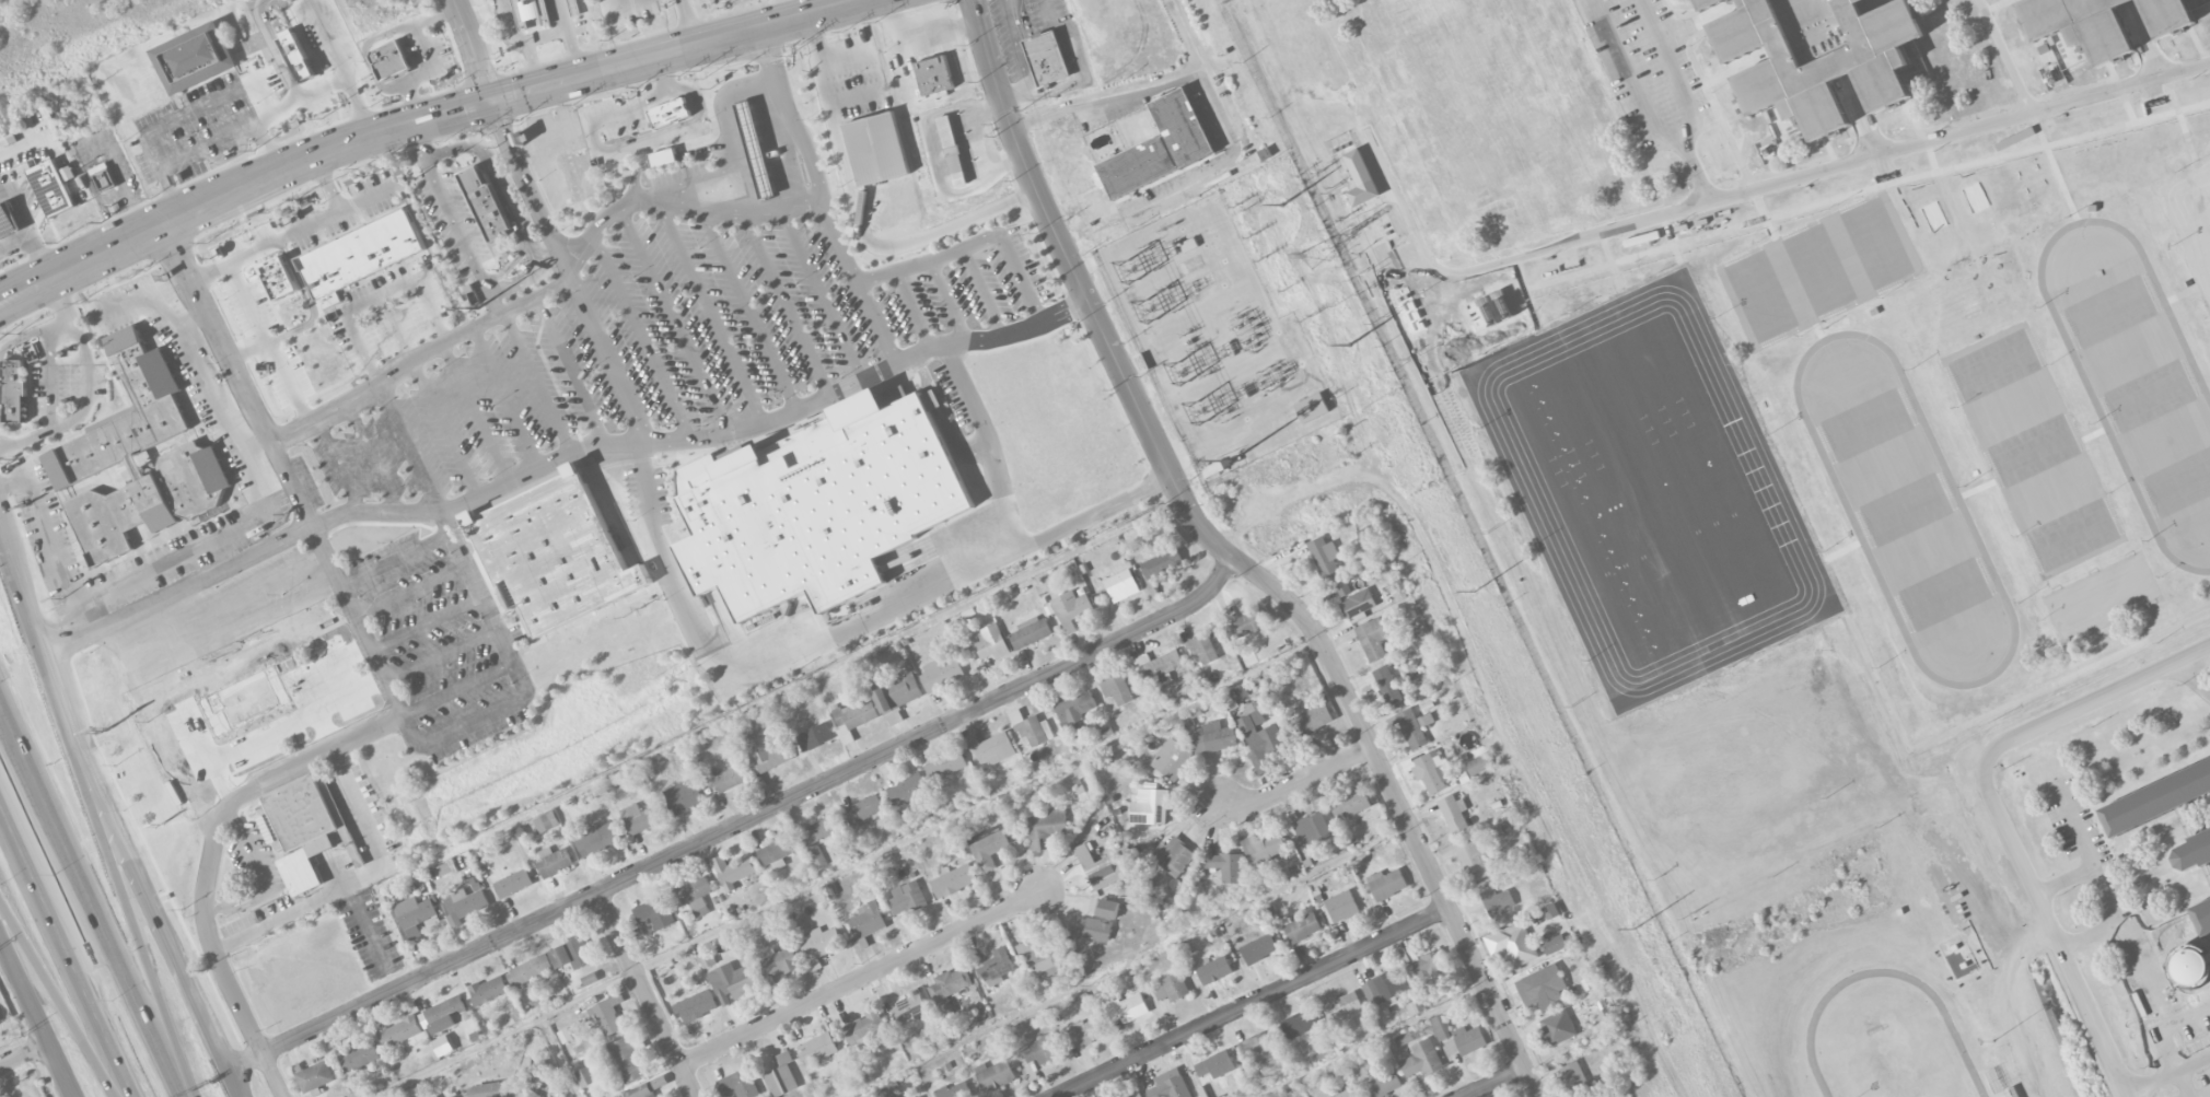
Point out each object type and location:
building: (1709, 4)
road: (1873, 5)
road: (1994, 5)
building: (572, 8)
road: (1436, 8)
building: (530, 13)
building: (2166, 14)
road: (694, 23)
building: (2081, 24)
road: (1548, 32)
road: (546, 36)
road: (327, 38)
road: (568, 38)
road: (2147, 40)
road: (522, 42)
road: (2197, 43)
road: (1015, 47)
road: (279, 49)
road: (475, 50)
building: (1817, 56)
building: (1046, 57)
building: (194, 58)
building: (284, 58)
building: (389, 61)
road: (1737, 68)
road: (1672, 69)
parking lot: (1647, 70)
road: (2010, 72)
road: (1081, 73)
building: (934, 77)
road: (1208, 77)
road: (1569, 87)
road: (2120, 91)
road: (1107, 94)
traffic signals: (489, 103)
building: (1481, 103)
road: (196, 109)
road: (1644, 109)
road: (1714, 109)
building: (670, 113)
road: (1860, 116)
road: (424, 119)
road: (1624, 121)
road: (1919, 135)
road: (1370, 140)
road: (418, 142)
building: (1161, 147)
building: (875, 149)
building: (756, 150)
gas station: (756, 150)
building: (952, 150)
building: (228, 152)
building: (771, 155)
building: (664, 159)
road: (1830, 166)
building: (103, 177)
building: (581, 178)
building: (1361, 179)
road: (325, 185)
road: (1724, 186)
building: (51, 189)
road: (173, 191)
road: (1834, 198)
road: (824, 200)
building: (485, 202)
road: (515, 205)
road: (677, 205)
power tower: (1280, 205)
road: (1537, 208)
road: (858, 219)
building: (8, 221)
gas station: (8, 221)
road: (1597, 226)
road: (26, 230)
road: (458, 230)
road: (293, 233)
building: (361, 254)
road: (549, 256)
road: (434, 257)
power tower: (1321, 259)
road: (929, 261)
building: (279, 278)
road: (1019, 278)
road: (984, 291)
road: (822, 294)
road: (377, 295)
road: (949, 302)
road: (787, 304)
road: (495, 307)
road: (749, 310)
road: (915, 311)
road: (503, 313)
road: (711, 313)
road: (194, 322)
road: (674, 322)
road: (641, 337)
power substation: (1214, 337)
road: (268, 343)
power tower: (1349, 345)
road: (247, 350)
road: (608, 359)
road: (570, 370)
road: (538, 382)
road: (90, 388)
building: (14, 389)
road: (505, 396)
building: (1314, 406)
road: (476, 411)
road: (443, 428)
road: (990, 444)
road: (409, 450)
road: (373, 457)
building: (138, 466)
road: (339, 466)
building: (1214, 467)
road: (249, 477)
building: (822, 509)
road: (49, 542)
building: (557, 556)
building: (1324, 557)
road: (241, 559)
road: (395, 559)
road: (1234, 561)
building: (1162, 563)
building: (1123, 585)
building: (1342, 586)
power tower: (1475, 591)
road: (410, 592)
road: (230, 600)
building: (1357, 603)
road: (486, 607)
building: (1071, 609)
road: (427, 623)
building: (1248, 625)
road: (244, 630)
road: (839, 630)
building: (1031, 632)
building: (1373, 639)
building: (990, 642)
road: (1861, 647)
building: (1203, 649)
road: (112, 656)
road: (443, 658)
road: (260, 663)
building: (1161, 668)
road: (2198, 673)
building: (941, 674)
building: (1387, 685)
building: (1117, 689)
road: (460, 691)
road: (277, 697)
building: (897, 697)
road: (2094, 702)
building: (1073, 711)
road: (166, 713)
building: (1317, 716)
building: (853, 719)
building: (1415, 727)
road: (292, 728)
building: (1031, 730)
building: (815, 737)
building: (1212, 738)
building: (1260, 740)
building: (991, 748)
building: (769, 755)
building: (1172, 759)
building: (946, 766)
building: (1477, 766)
building: (1432, 772)
building: (728, 778)
road: (1296, 783)
building: (908, 790)
road: (243, 793)
building: (683, 796)
building: (2157, 800)
building: (1351, 803)
building: (1150, 807)
building: (864, 809)
road: (112, 810)
building: (1454, 813)
building: (641, 818)
building: (546, 821)
road: (738, 822)
building: (1047, 827)
building: (300, 829)
building: (821, 829)
building: (1312, 829)
building: (1496, 831)
building: (596, 839)
building: (987, 847)
building: (1264, 848)
building: (778, 852)
building: (2192, 852)
building: (817, 856)
building: (1173, 856)
road: (2094, 856)
building: (1474, 860)
building: (554, 861)
building: (1225, 866)
building: (1100, 868)
building: (733, 871)
road: (263, 874)
road: (2066, 876)
building: (953, 879)
building: (513, 884)
building: (1387, 884)
road: (165, 887)
building: (694, 896)
building: (907, 898)
building: (1497, 901)
road: (91, 905)
building: (464, 905)
building: (1342, 906)
road: (298, 911)
building: (1551, 911)
building: (655, 913)
building: (414, 915)
building: (2202, 917)
road: (136, 919)
building: (868, 920)
building: (1301, 927)
power tower: (1636, 927)
building: (1094, 929)
road: (2052, 931)
road: (2090, 931)
building: (1555, 944)
building: (821, 945)
building: (1512, 945)
building: (1259, 948)
road: (67, 949)
building: (571, 954)
building: (1045, 957)
building: (778, 962)
building: (1430, 965)
building: (997, 967)
building: (530, 970)
building: (1214, 970)
road: (2145, 970)
road: (862, 977)
building: (732, 982)
building: (950, 988)
building: (1172, 988)
building: (1542, 988)
building: (489, 990)
building: (1382, 991)
road: (645, 994)
road: (1254, 1003)
building: (909, 1005)
building: (1344, 1005)
road: (60, 1006)
building: (697, 1006)
building: (1126, 1007)
building: (1414, 1007)
road: (36, 1012)
building: (447, 1013)
building: (607, 1015)
building: (1300, 1024)
building: (1440, 1027)
building: (1558, 1027)
building: (863, 1028)
building: (400, 1031)
building: (1082, 1034)
building: (1404, 1039)
building: (1468, 1039)
road: (2167, 1040)
building: (819, 1047)
building: (1040, 1050)
building: (1259, 1050)
road: (25, 1057)
building: (359, 1057)
building: (626, 1058)
building: (1422, 1060)
building: (1214, 1066)
road: (2167, 1074)
building: (995, 1075)
road: (272, 1076)
building: (315, 1076)
building: (585, 1076)
building: (781, 1076)
building: (1577, 1080)
road: (1497, 1083)
building: (740, 1084)
building: (1170, 1085)
building: (1383, 1085)
building: (485, 1090)
building: (955, 1090)
building: (641, 1092)
building: (2011, 1092)
building: (533, 1094)
building: (1346, 1094)
building: (1136, 1095)
building: (1324, 1095)
building: (437, 1096)
building: (454, 1096)

